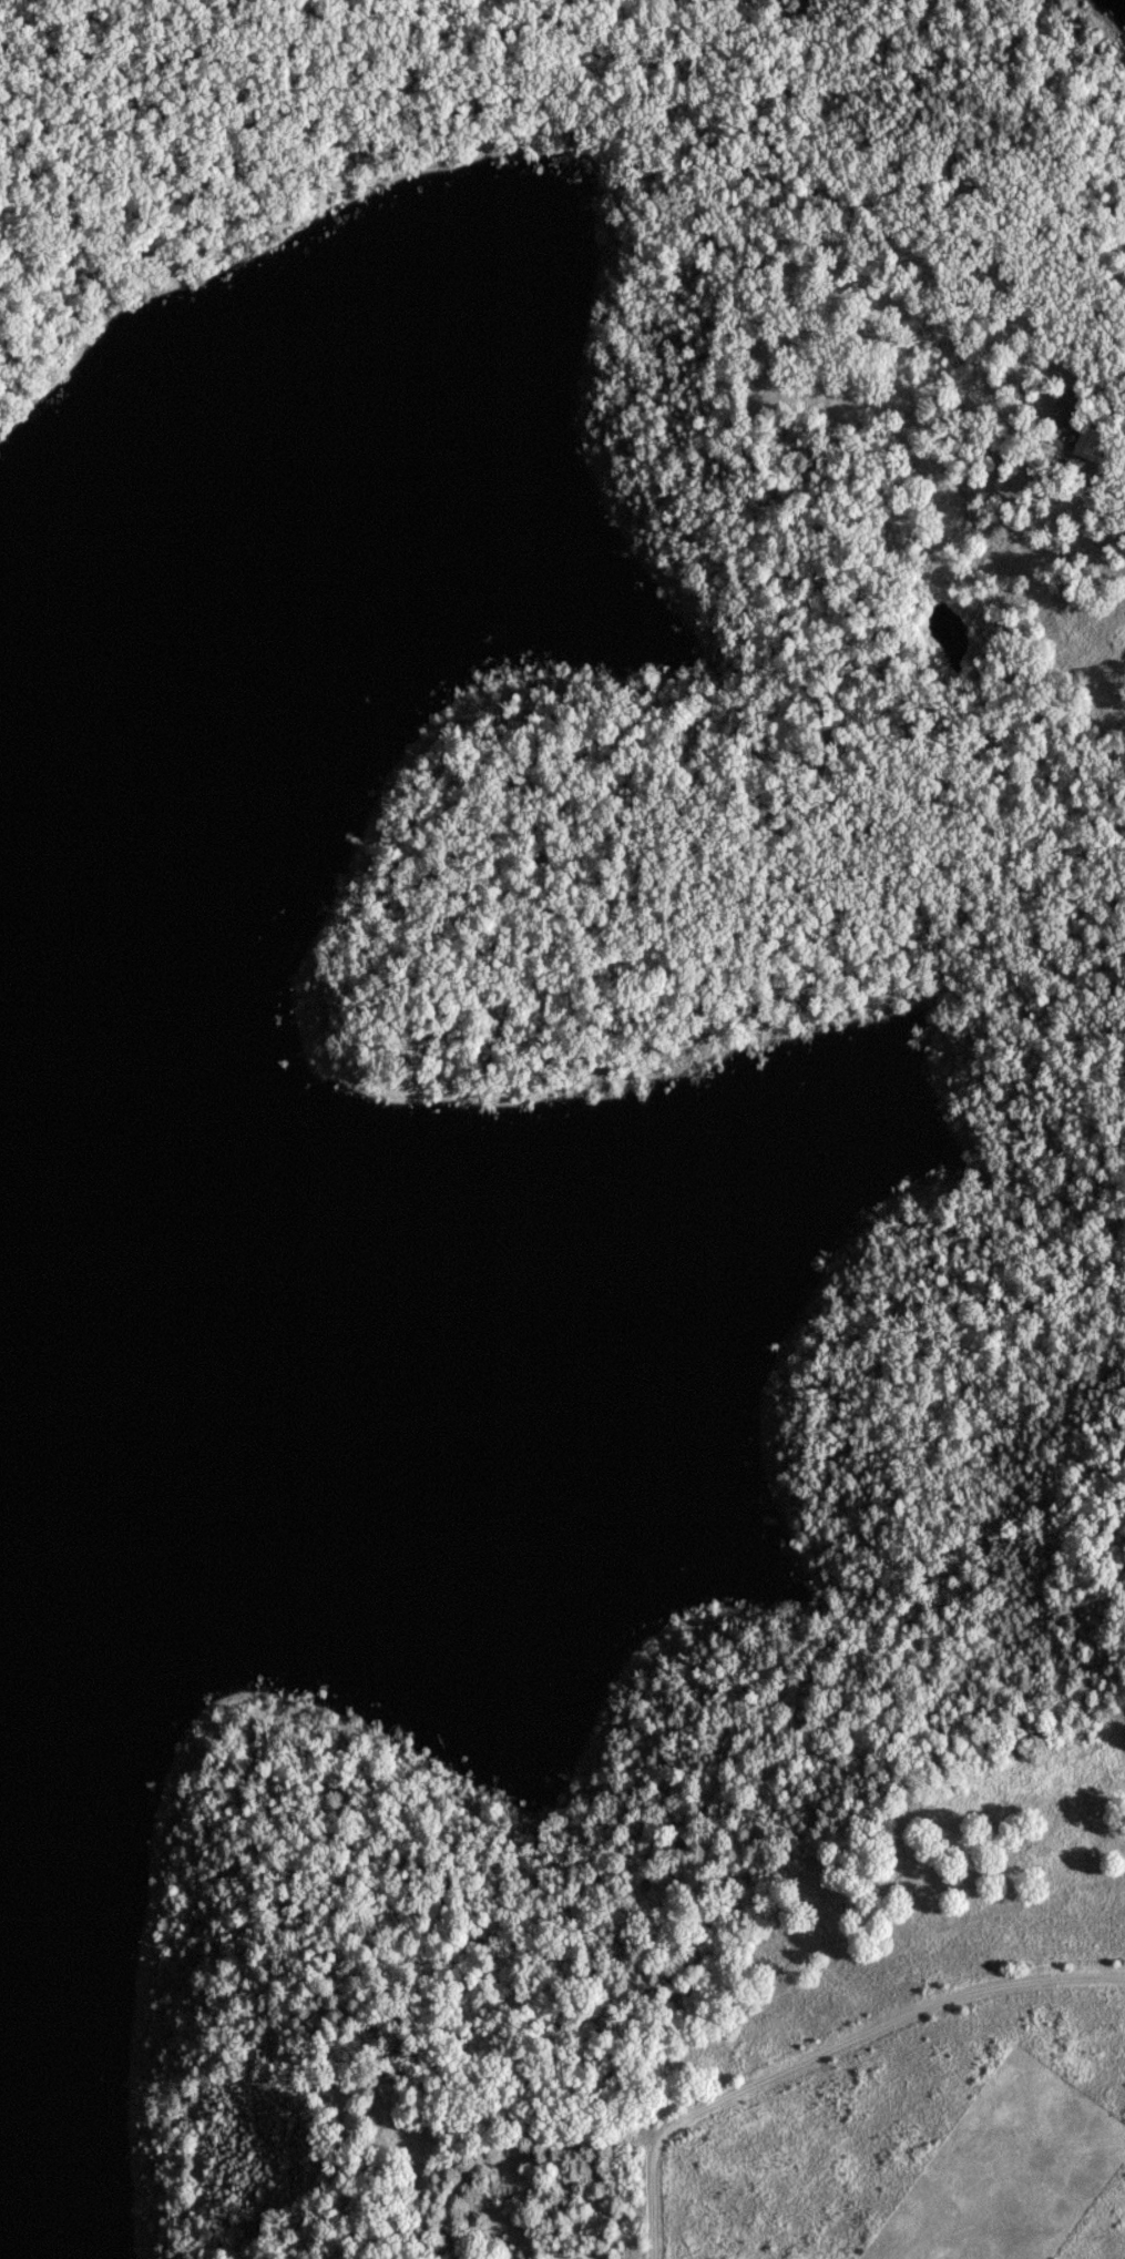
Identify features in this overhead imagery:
road: (825, 2051)

